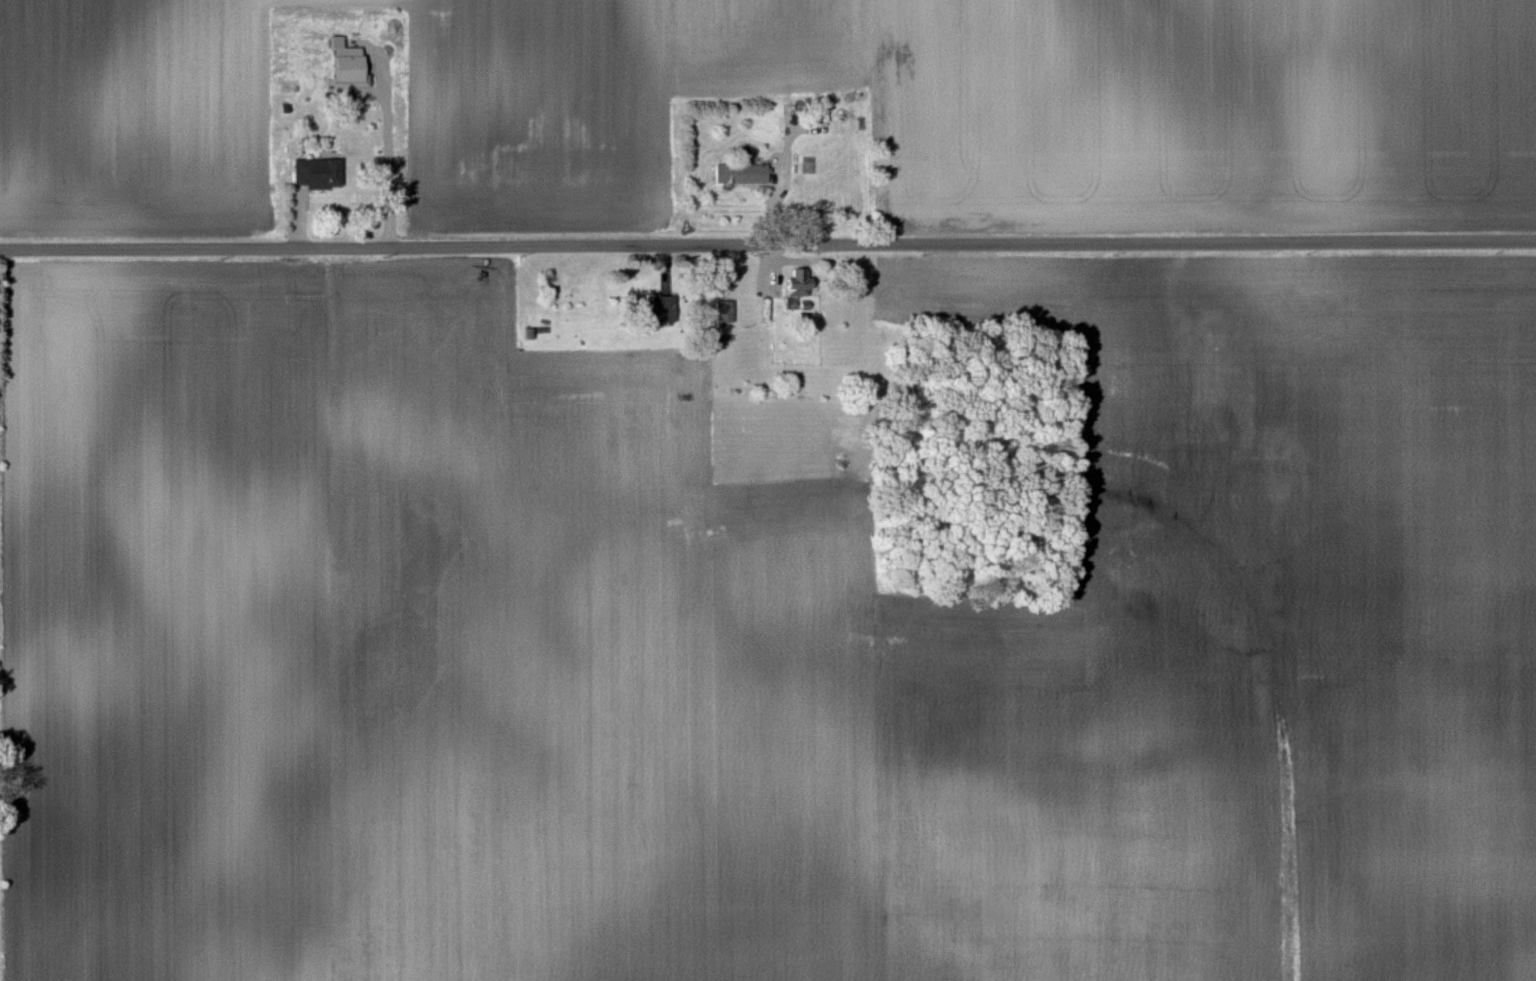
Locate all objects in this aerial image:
building: (351, 64)
road: (386, 153)
building: (741, 173)
road: (777, 179)
road: (768, 247)
building: (798, 283)
building: (724, 310)

